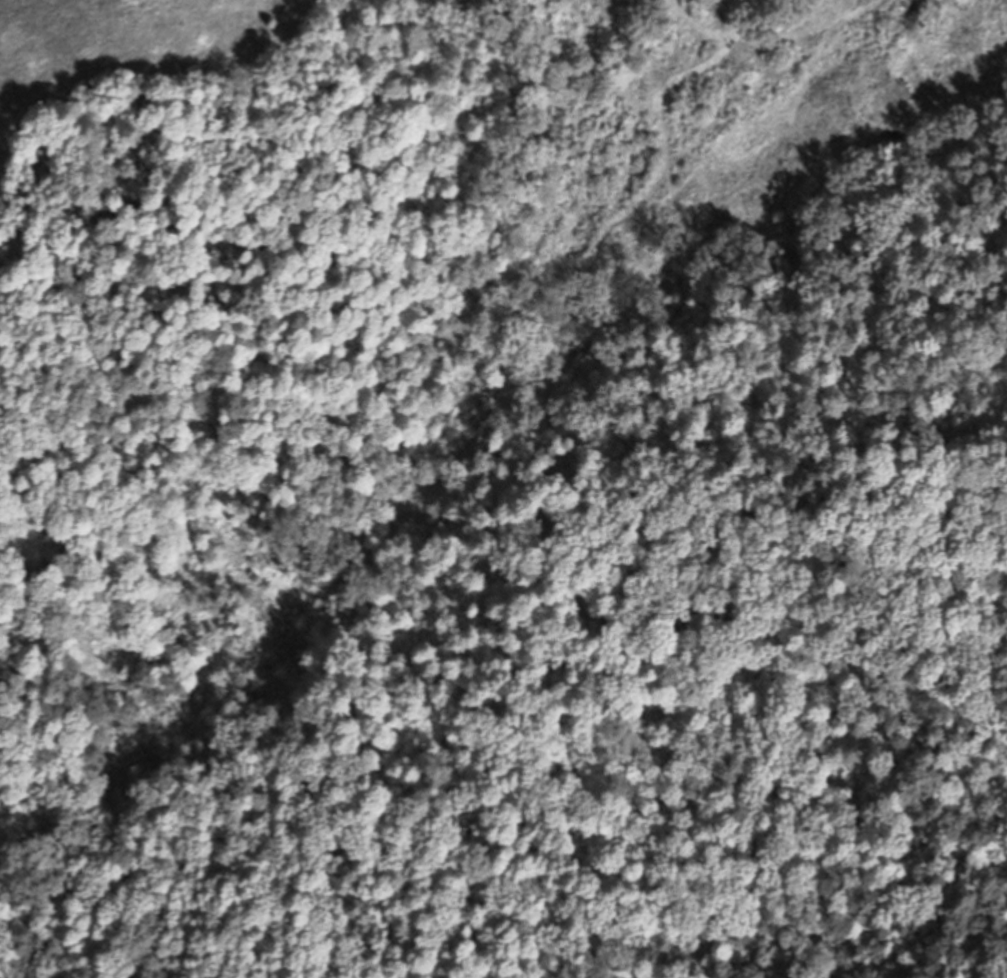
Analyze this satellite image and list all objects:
building: (918, 10)

